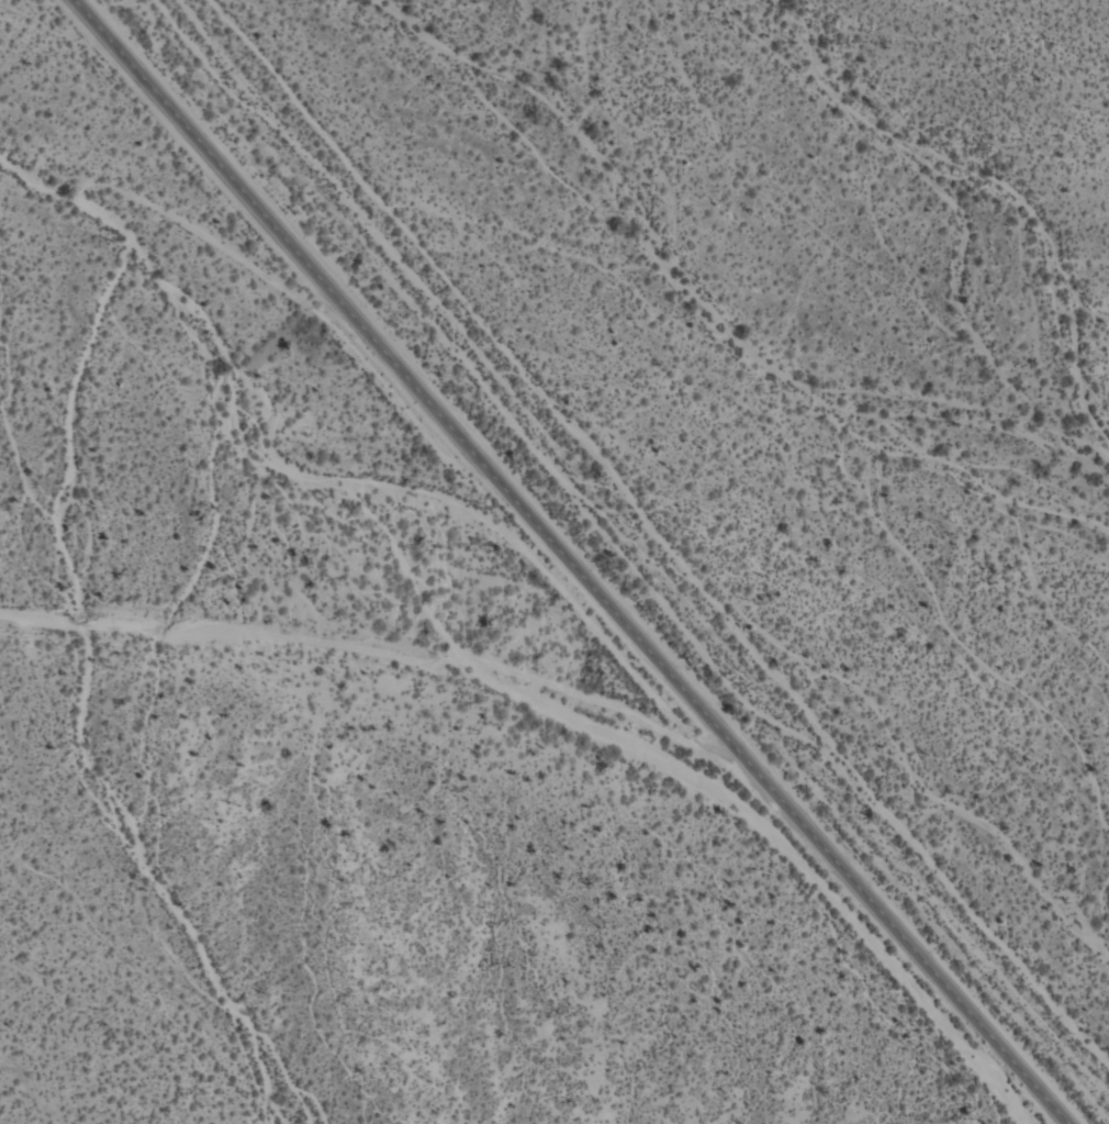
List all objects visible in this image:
road: (570, 561)
road: (380, 649)

